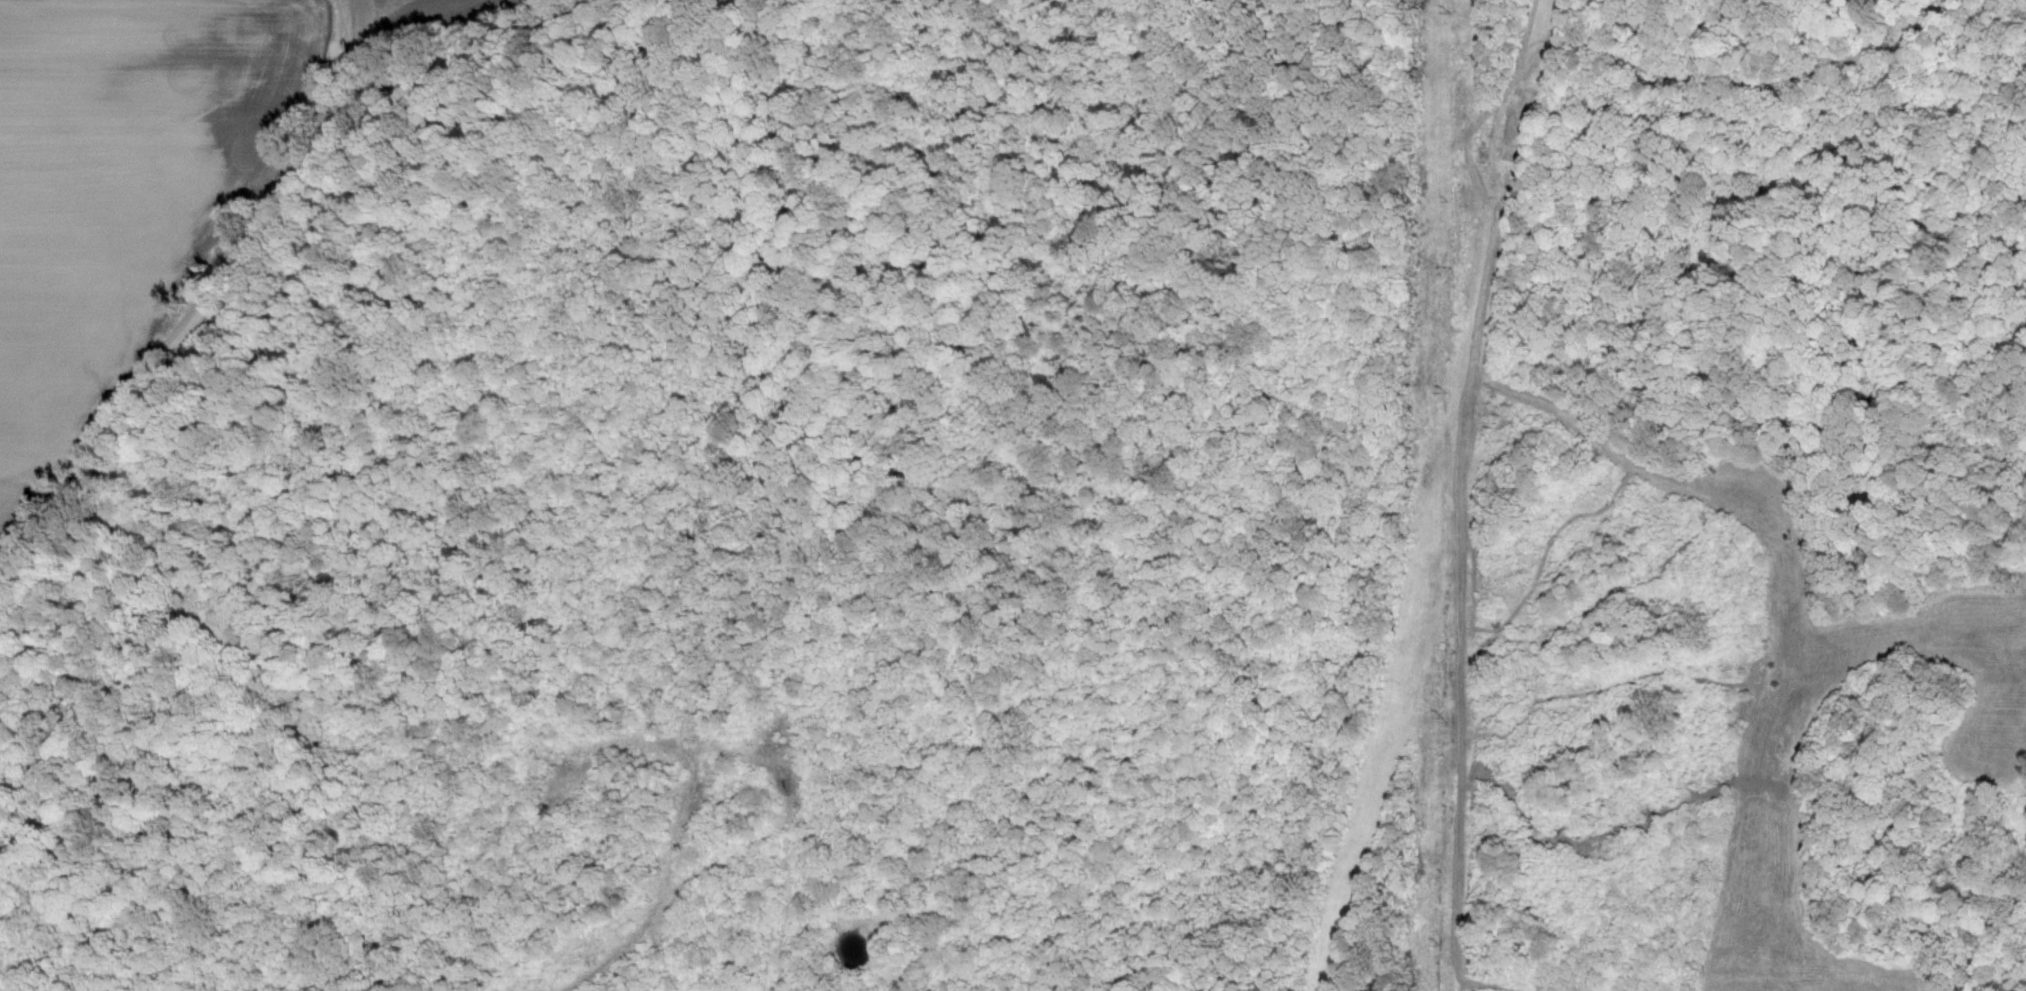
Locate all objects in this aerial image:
road: (258, 228)

